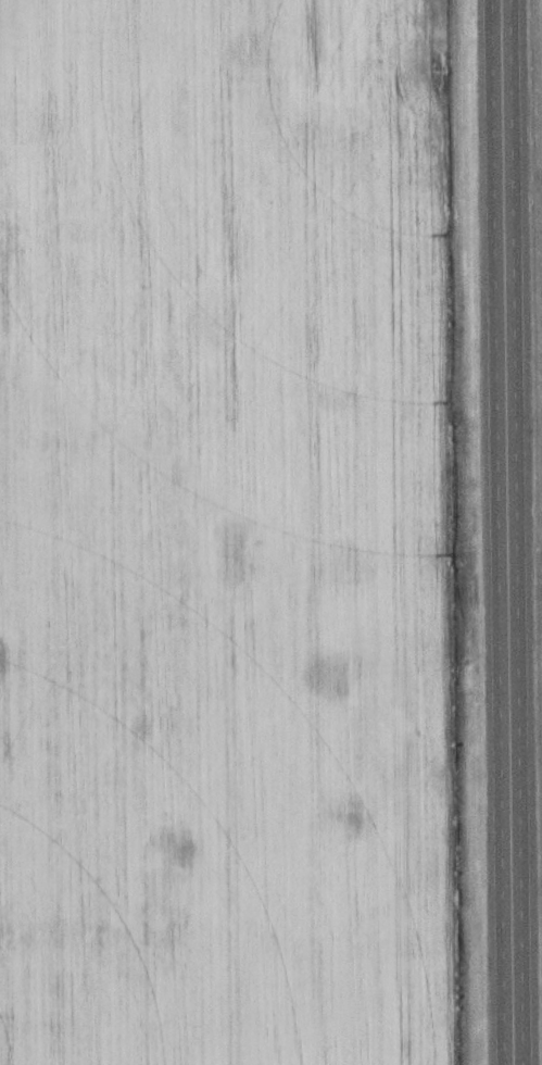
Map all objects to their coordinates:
road: (506, 532)

